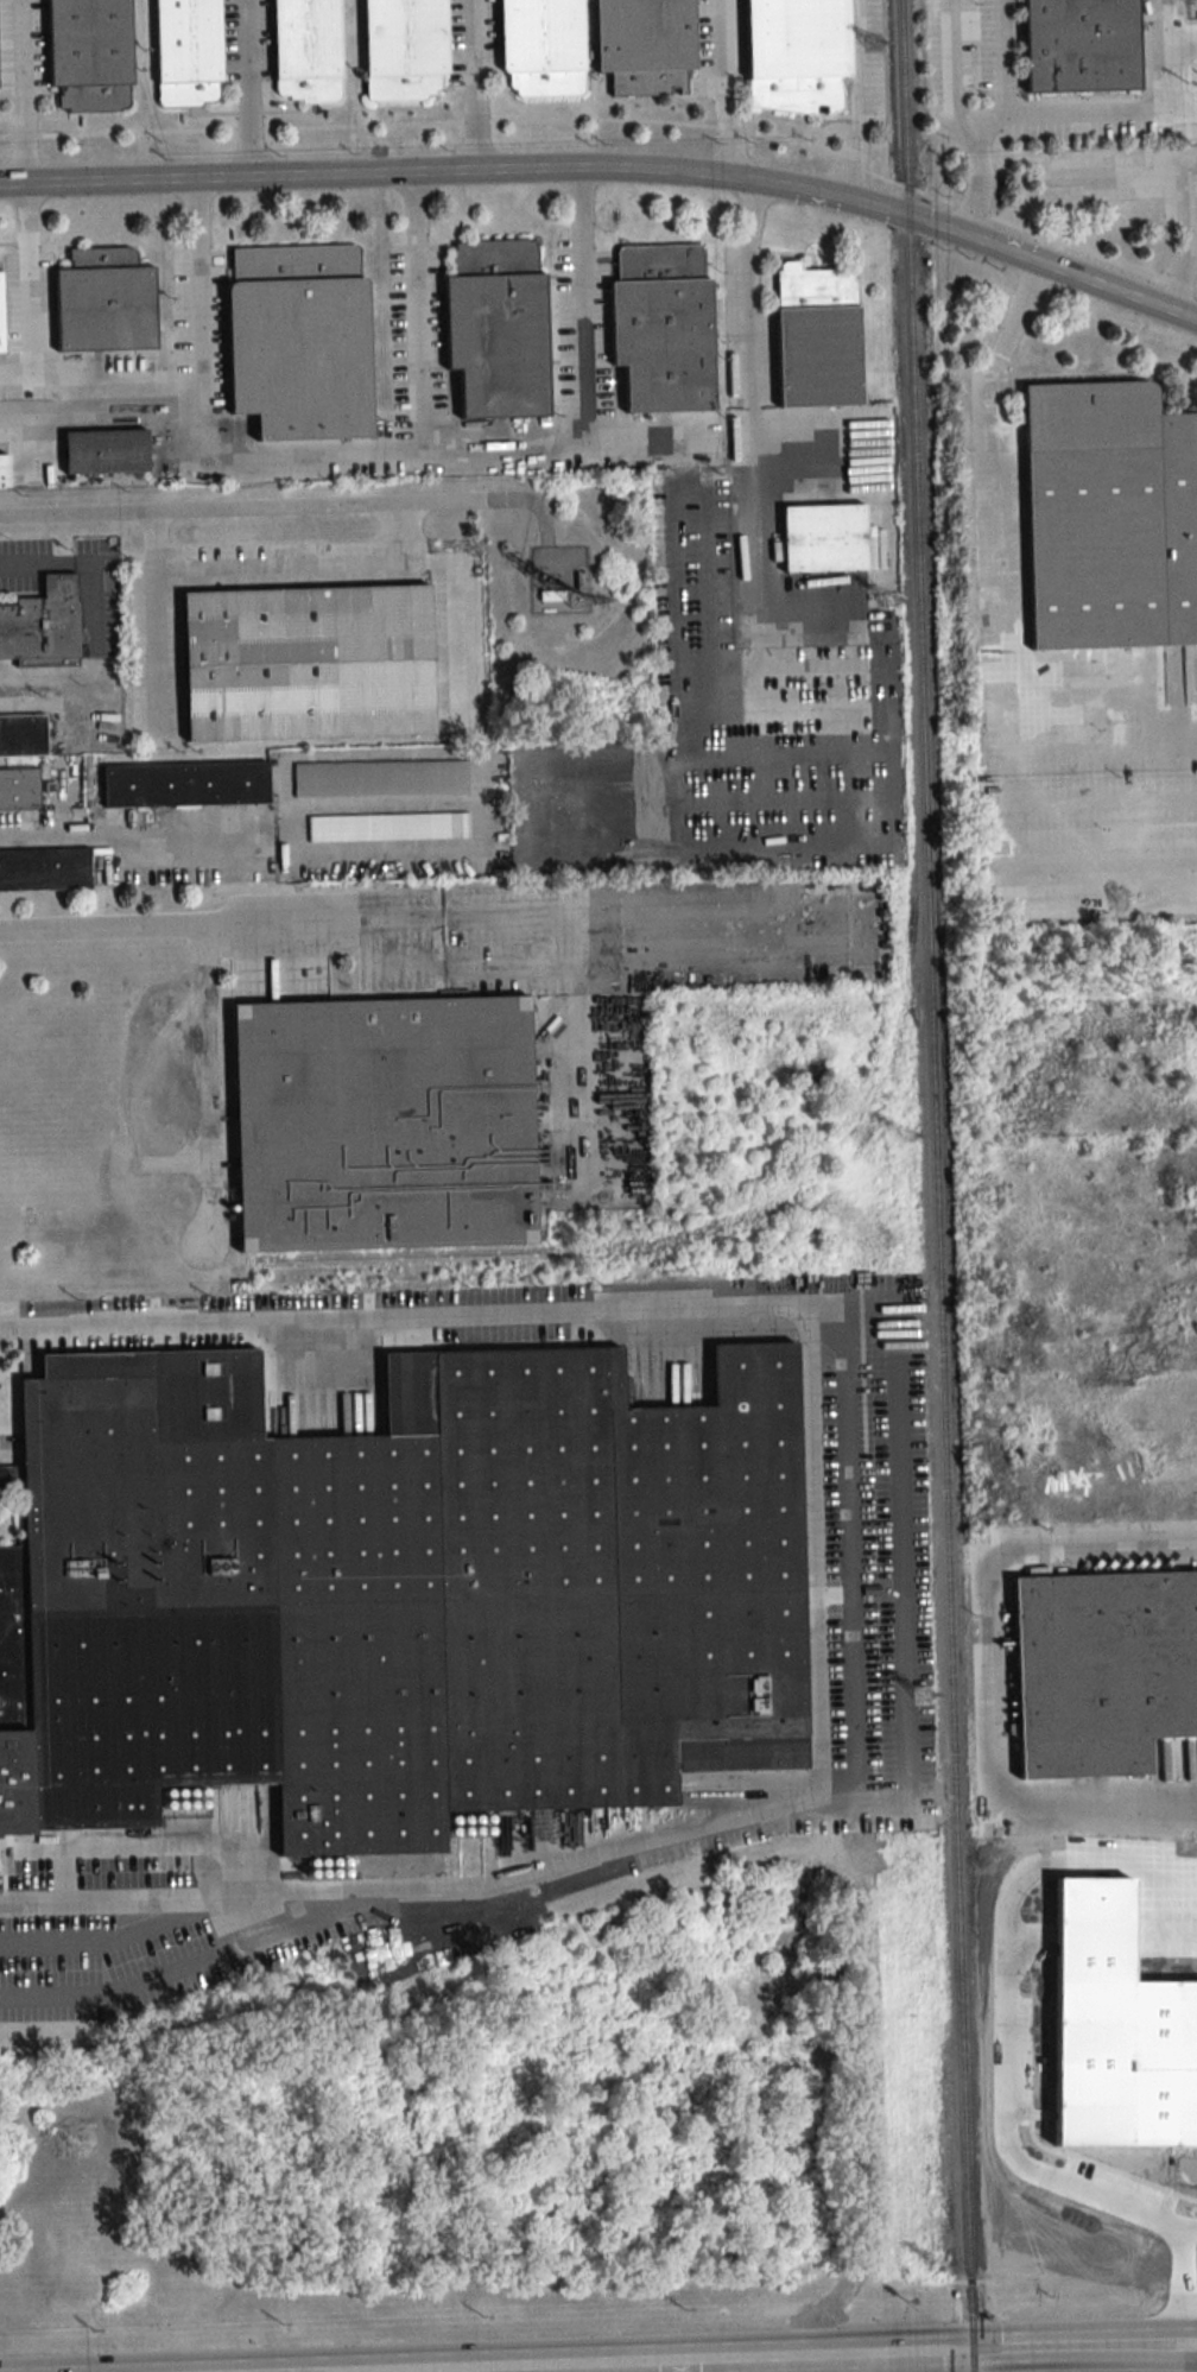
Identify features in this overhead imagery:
power tower: (872, 42)
building: (646, 44)
building: (543, 46)
building: (1082, 48)
building: (405, 49)
building: (306, 50)
building: (188, 51)
building: (90, 53)
building: (797, 53)
road: (474, 87)
road: (248, 90)
road: (723, 93)
road: (1116, 110)
road: (957, 124)
road: (1123, 169)
road: (609, 172)
road: (25, 201)
road: (1189, 242)
building: (104, 302)
road: (419, 311)
building: (1, 317)
building: (498, 328)
building: (663, 328)
building: (817, 336)
building: (299, 341)
road: (741, 356)
road: (121, 413)
road: (4, 416)
road: (398, 447)
building: (106, 451)
building: (4, 472)
road: (285, 505)
building: (1110, 517)
building: (824, 538)
road: (549, 550)
road: (80, 563)
road: (275, 563)
road: (456, 588)
power tower: (889, 600)
building: (43, 625)
road: (158, 641)
road: (1005, 649)
building: (308, 663)
road: (1108, 694)
road: (47, 703)
building: (23, 735)
building: (380, 778)
building: (185, 784)
building: (19, 790)
road: (477, 818)
building: (388, 827)
road: (146, 835)
building: (44, 869)
road: (508, 913)
road: (221, 923)
road: (471, 966)
building: (386, 1125)
power tower: (905, 1134)
railway: (938, 1185)
railway: (761, 1200)
road: (809, 1563)
road: (987, 1575)
building: (405, 1605)
building: (1103, 1672)
power tower: (921, 1696)
road: (1097, 1811)
power tower: (939, 2269)
road: (1134, 2335)
road: (1134, 2357)
road: (699, 2358)
road: (869, 2362)

